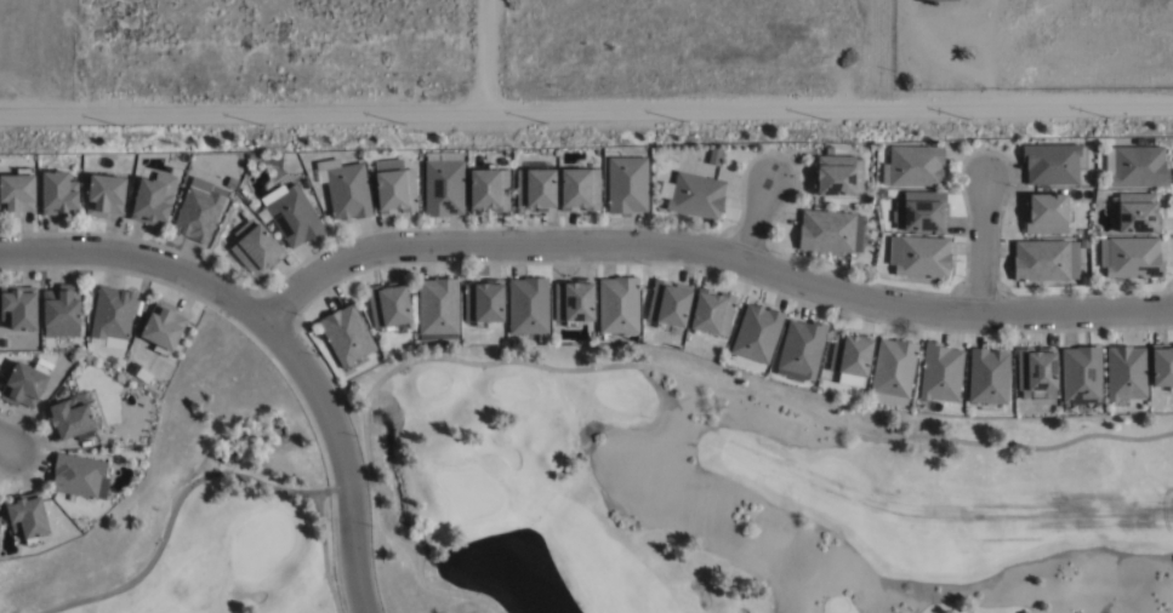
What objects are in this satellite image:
building: (932, 0)
road: (482, 53)
road: (586, 107)
building: (1052, 162)
building: (1133, 162)
building: (912, 165)
building: (837, 174)
building: (232, 182)
building: (443, 183)
building: (627, 184)
building: (393, 185)
building: (535, 187)
building: (345, 188)
building: (488, 188)
building: (579, 188)
building: (58, 193)
building: (16, 194)
building: (104, 194)
building: (695, 194)
building: (150, 201)
building: (199, 210)
building: (919, 210)
building: (1044, 212)
building: (1135, 212)
building: (291, 213)
road: (753, 222)
building: (830, 230)
road: (574, 245)
road: (979, 246)
building: (255, 247)
building: (919, 256)
building: (1129, 257)
building: (1043, 259)
building: (574, 302)
building: (482, 303)
building: (619, 305)
building: (667, 305)
building: (386, 306)
building: (528, 306)
building: (18, 308)
building: (437, 308)
building: (62, 311)
building: (711, 313)
building: (112, 316)
building: (163, 327)
building: (756, 333)
building: (345, 334)
building: (801, 348)
building: (849, 359)
building: (1161, 367)
building: (892, 371)
building: (940, 372)
building: (1124, 372)
building: (1035, 373)
building: (1080, 374)
building: (987, 376)
building: (24, 384)
building: (69, 419)
road: (7, 442)
road: (341, 453)
building: (79, 477)
park: (739, 500)
park: (206, 504)
building: (28, 519)

